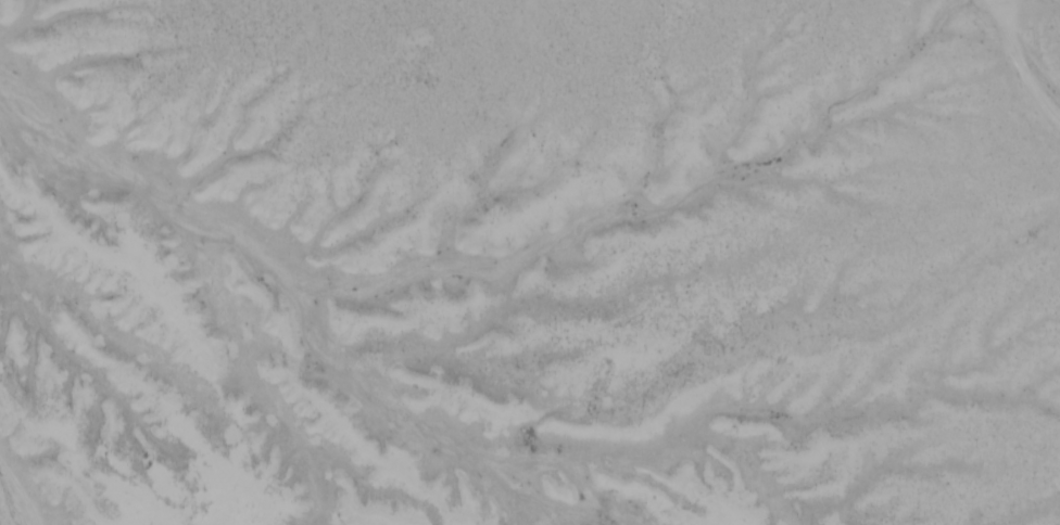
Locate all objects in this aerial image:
road: (1034, 22)
road: (900, 293)

